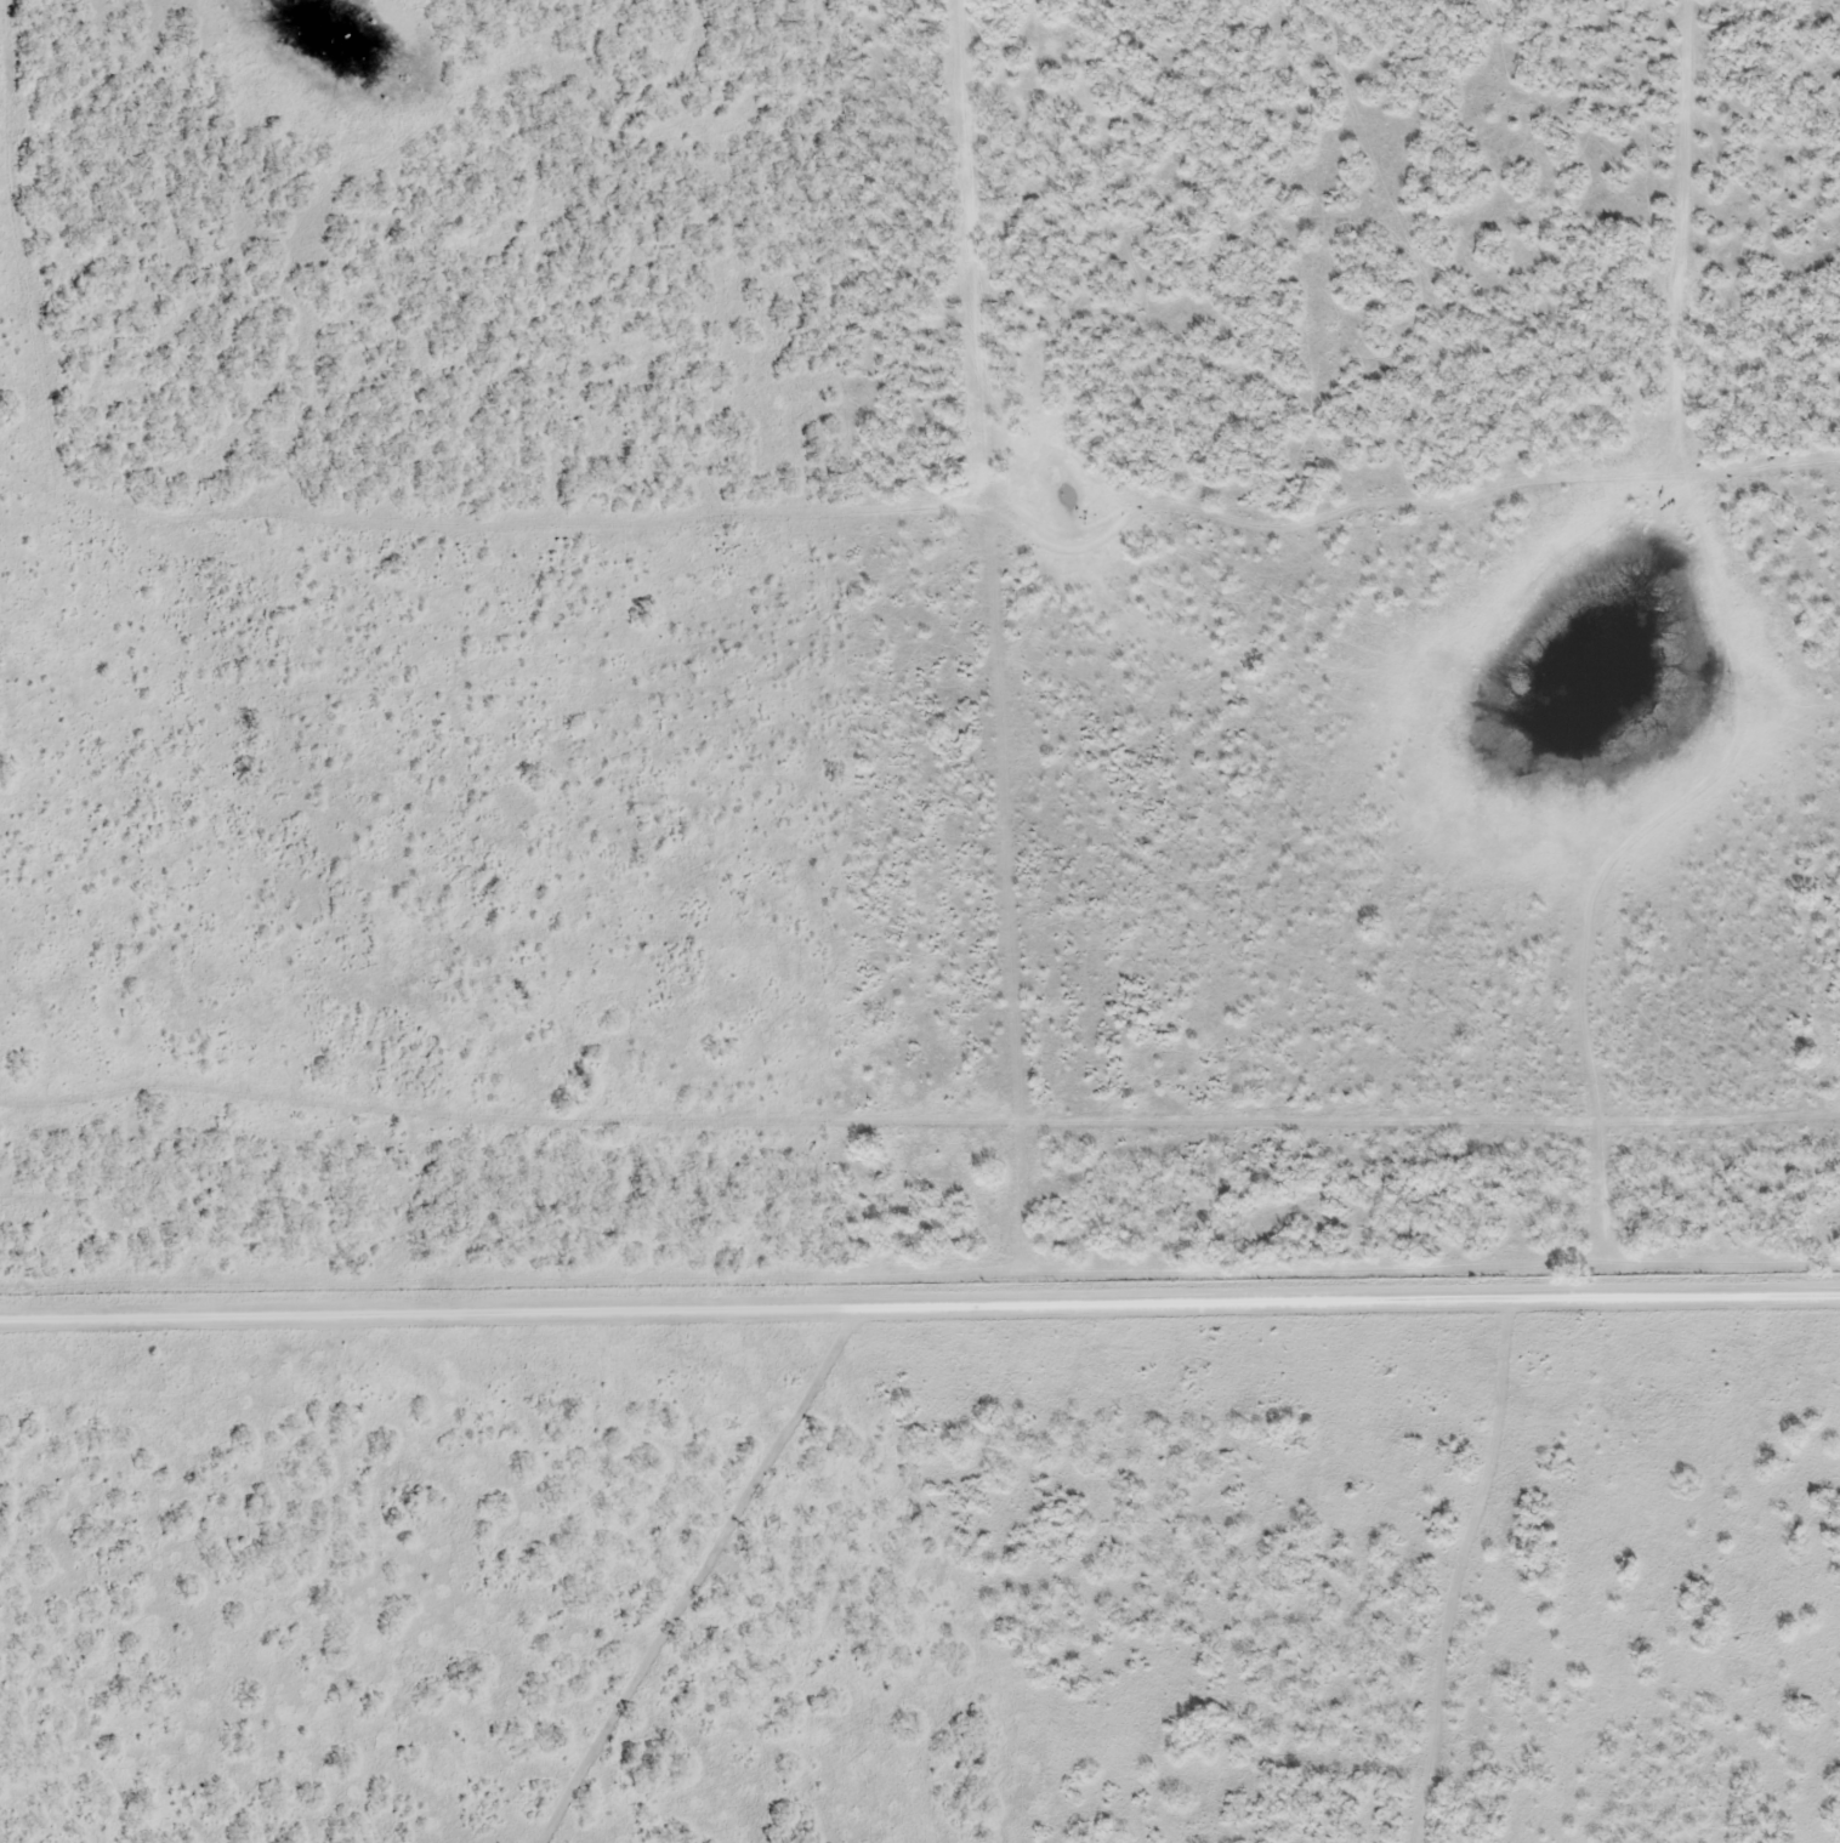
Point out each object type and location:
road: (919, 1290)

